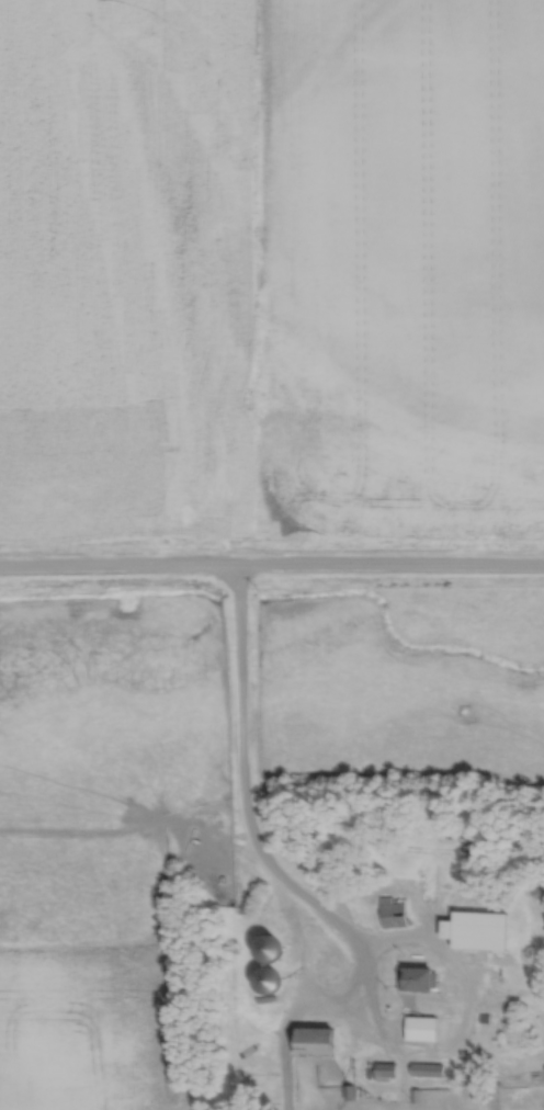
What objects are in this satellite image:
road: (272, 574)
road: (241, 791)
building: (394, 910)
building: (481, 928)
building: (270, 945)
road: (367, 953)
building: (270, 977)
building: (419, 977)
building: (317, 1040)
building: (429, 1068)
building: (387, 1069)

